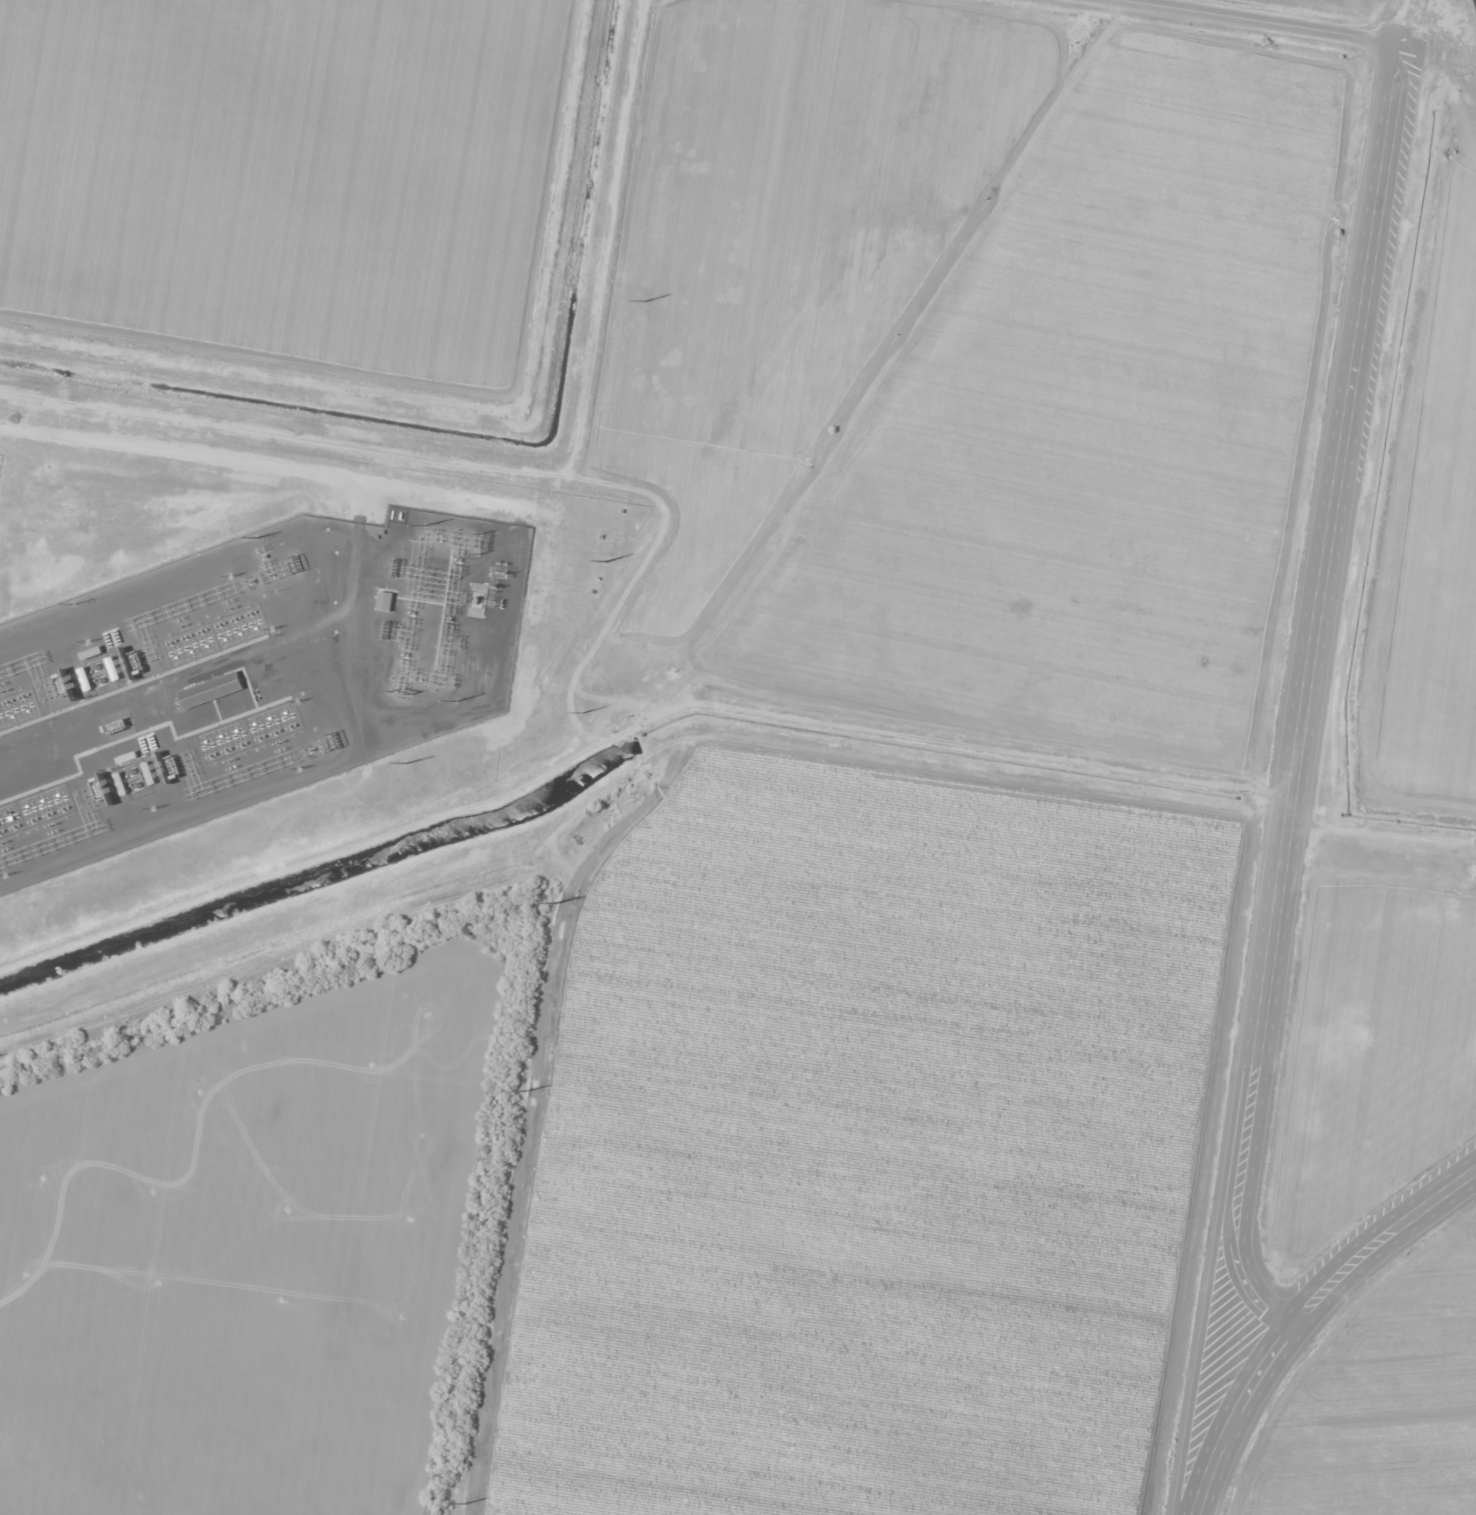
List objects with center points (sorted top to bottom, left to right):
road: (1323, 564)
building: (384, 601)
power substation: (246, 675)
building: (210, 689)
road: (1301, 1315)

